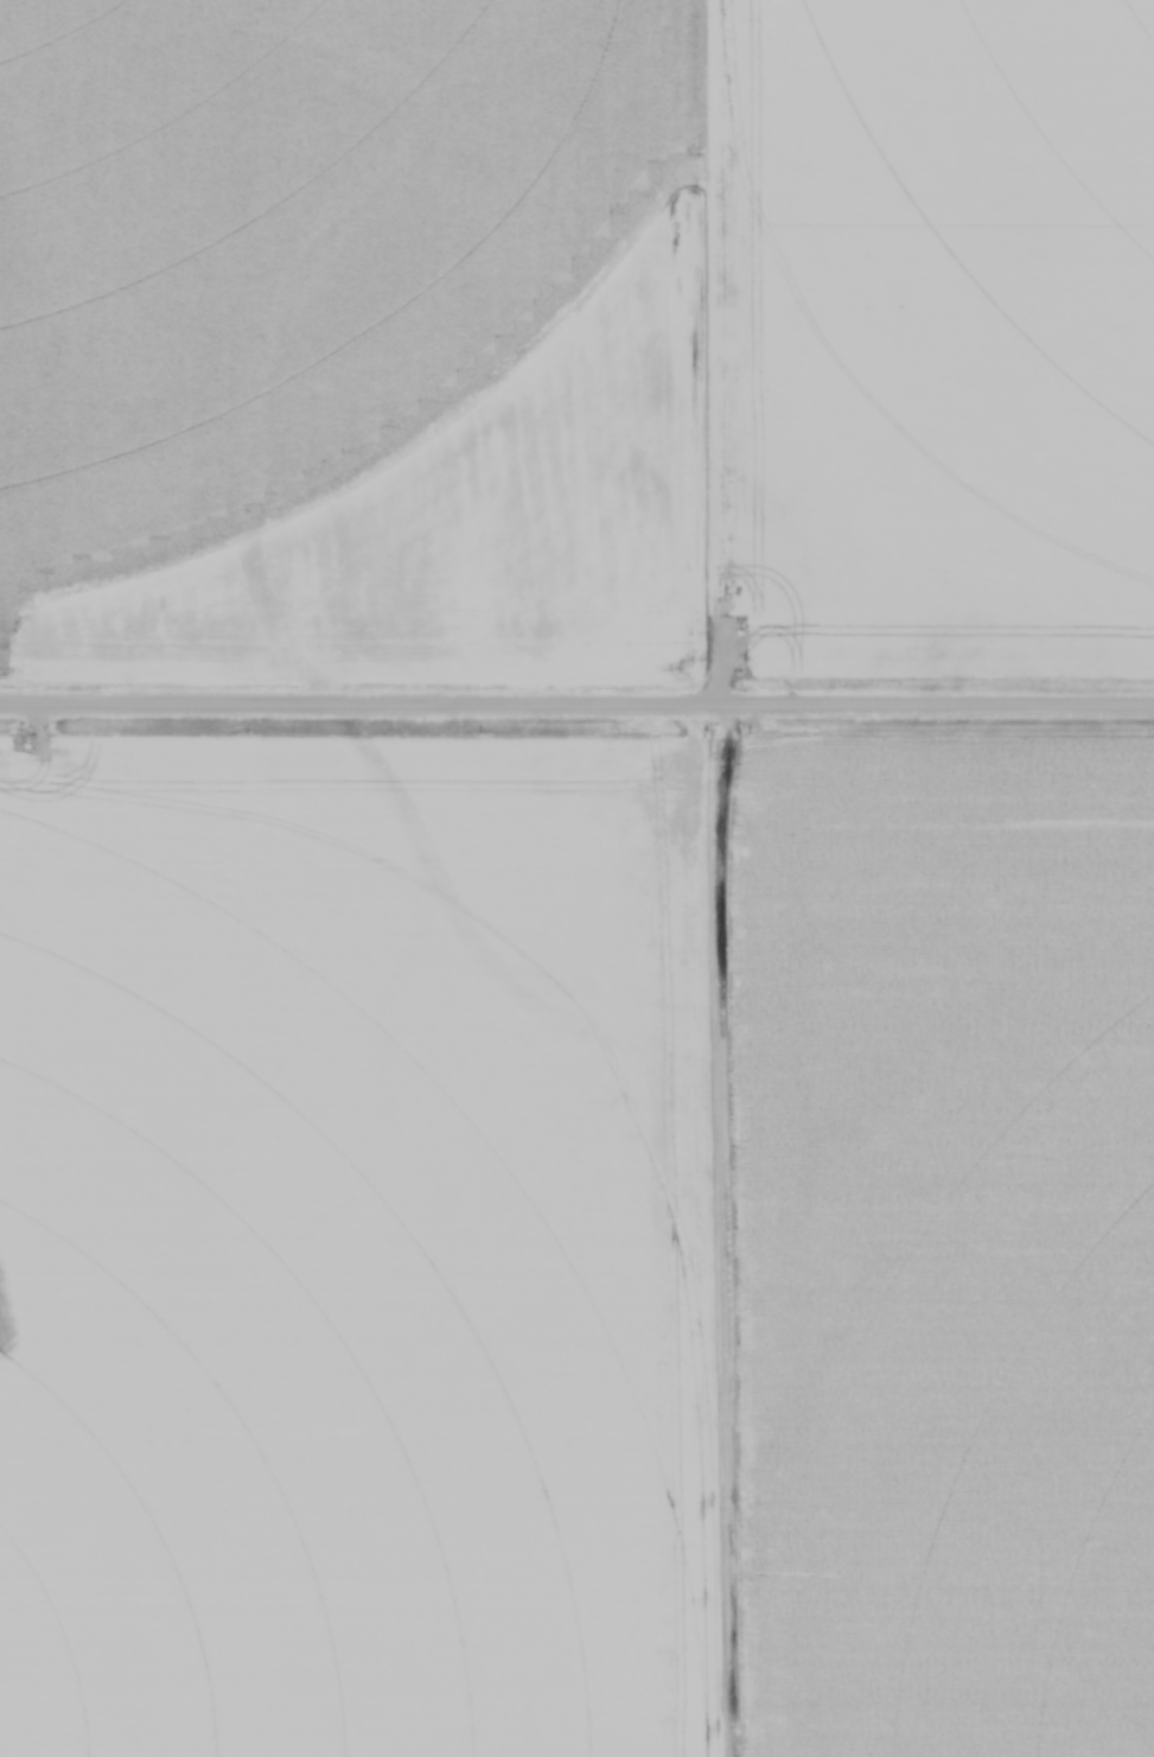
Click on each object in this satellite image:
crop: (578, 332)
road: (576, 704)
crop: (576, 1244)

